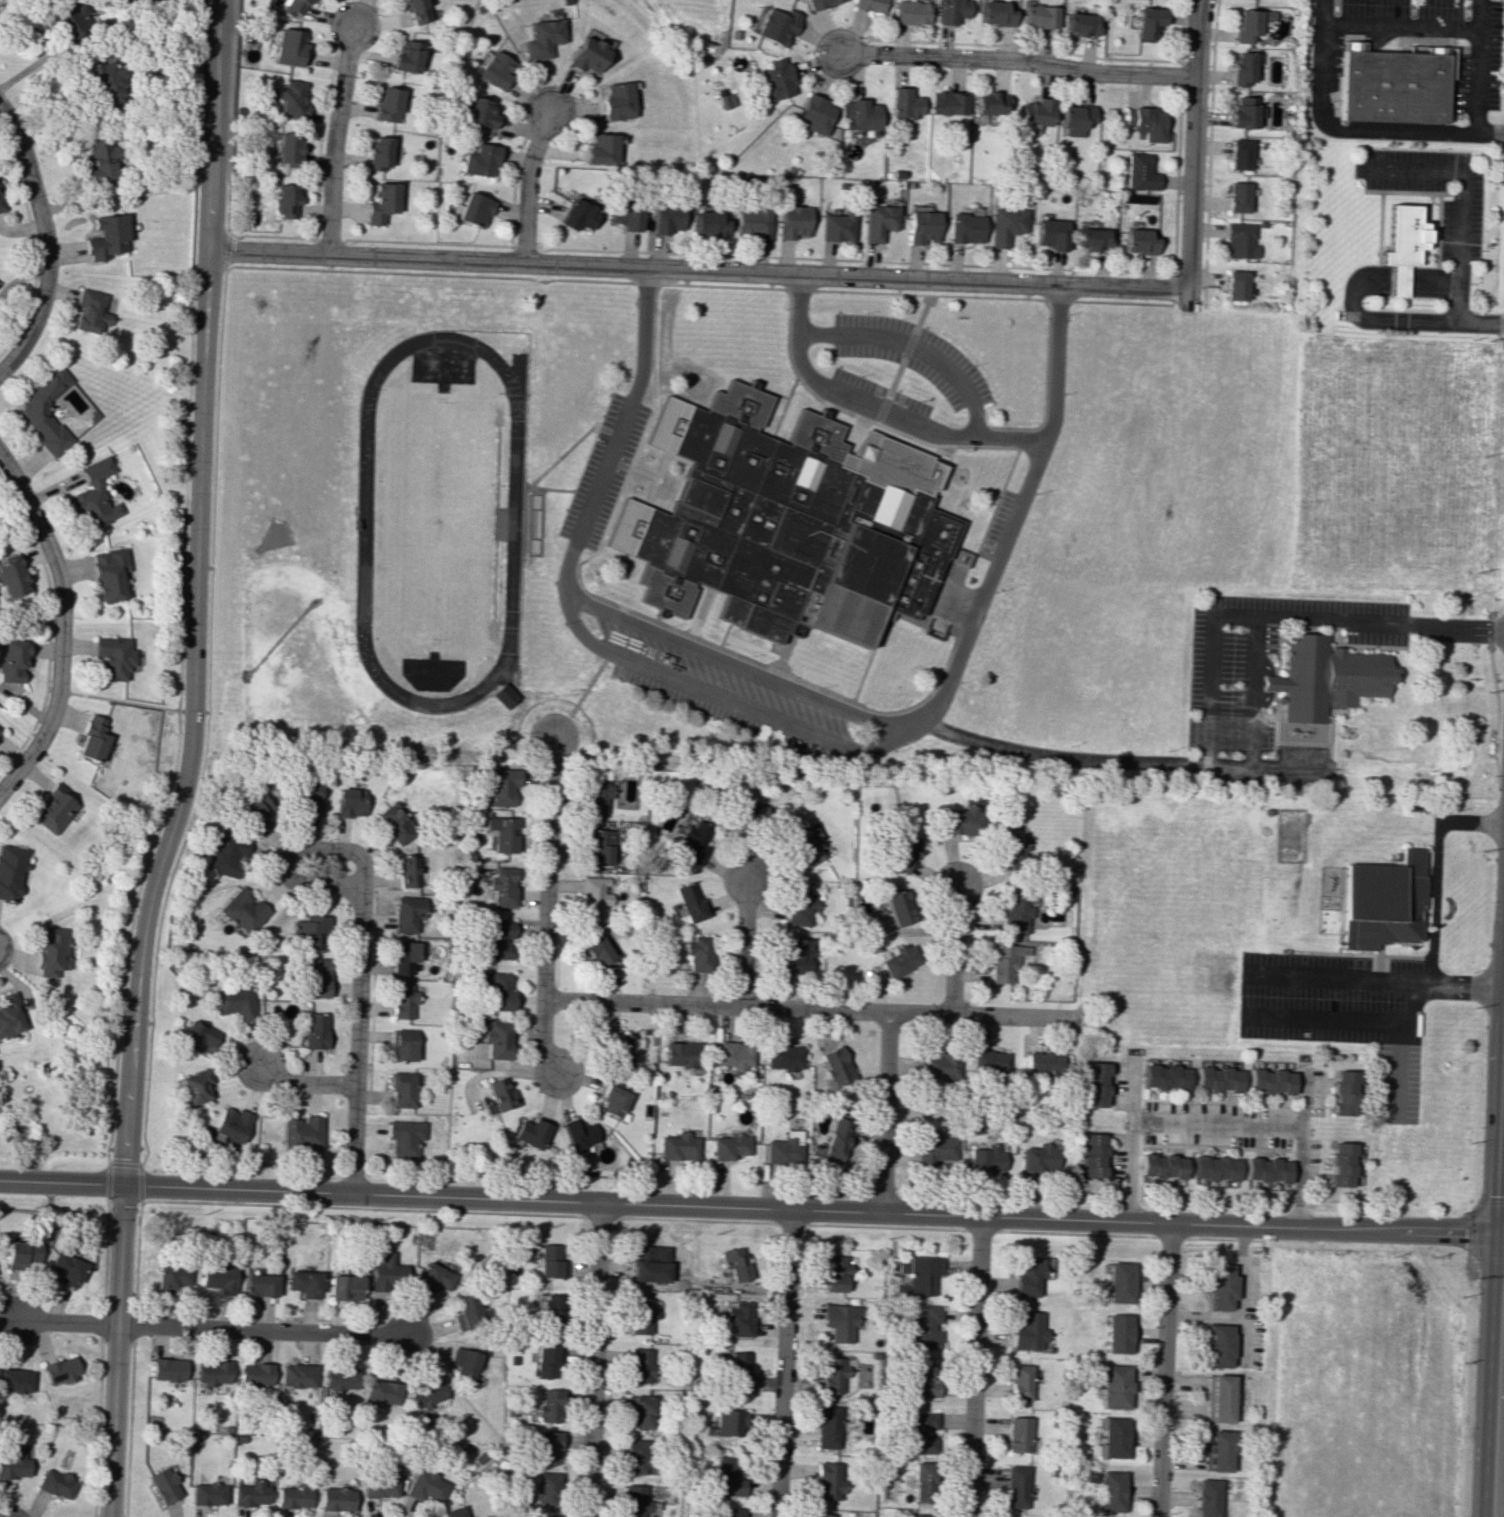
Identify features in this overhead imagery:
building: (819, 3)
building: (868, 5)
building: (287, 6)
building: (414, 11)
building: (951, 11)
building: (910, 12)
building: (996, 12)
building: (1039, 16)
building: (67, 19)
building: (1147, 22)
building: (1249, 23)
building: (1080, 24)
building: (776, 26)
road: (1399, 27)
building: (540, 38)
building: (287, 46)
building: (586, 54)
building: (405, 56)
road: (1015, 60)
road: (1476, 66)
building: (1242, 68)
building: (494, 69)
building: (774, 80)
parking lot: (1477, 80)
building: (105, 82)
building: (1390, 82)
building: (291, 98)
building: (616, 101)
building: (904, 103)
building: (948, 103)
building: (990, 103)
building: (387, 104)
building: (1034, 112)
building: (1244, 112)
building: (478, 113)
building: (814, 114)
building: (861, 114)
building: (1074, 118)
building: (1145, 123)
road: (1350, 127)
road: (331, 138)
road: (1191, 145)
building: (287, 147)
building: (601, 149)
building: (378, 152)
building: (1238, 154)
building: (98, 159)
building: (479, 160)
building: (1139, 172)
road: (525, 186)
building: (1236, 197)
building: (286, 200)
building: (381, 202)
building: (0, 207)
building: (472, 208)
building: (625, 214)
building: (577, 215)
building: (666, 218)
building: (793, 221)
building: (878, 221)
building: (752, 222)
road: (1458, 222)
building: (708, 224)
building: (1005, 225)
building: (837, 226)
building: (921, 226)
building: (964, 228)
parking lot: (1459, 231)
building: (1050, 234)
building: (106, 237)
building: (1091, 238)
building: (1239, 240)
building: (1137, 241)
road: (43, 242)
building: (1395, 247)
road: (695, 269)
building: (1234, 285)
road: (1351, 298)
building: (90, 311)
road: (915, 346)
parking lot: (914, 355)
road: (897, 375)
parking lot: (881, 391)
road: (874, 407)
building: (45, 412)
road: (578, 439)
parking lot: (603, 471)
road: (561, 490)
building: (94, 495)
track: (513, 516)
park: (435, 520)
building: (787, 521)
parking lot: (999, 523)
building: (109, 573)
building: (11, 578)
road: (1239, 617)
road: (59, 623)
road: (1459, 627)
building: (113, 657)
building: (12, 659)
road: (737, 667)
building: (1323, 677)
parking lot: (1226, 681)
parking lot: (727, 682)
road: (1252, 692)
road: (580, 694)
building: (503, 695)
parking lot: (713, 711)
road: (786, 726)
building: (0, 732)
building: (91, 739)
road: (1060, 756)
road: (186, 761)
road: (1264, 767)
building: (500, 787)
building: (594, 792)
building: (307, 798)
building: (349, 802)
building: (54, 808)
building: (254, 812)
building: (958, 821)
building: (395, 823)
building: (501, 833)
building: (693, 841)
building: (805, 844)
building: (596, 846)
building: (1013, 850)
road: (290, 851)
building: (904, 852)
building: (224, 854)
building: (11, 870)
building: (407, 870)
building: (501, 887)
building: (594, 897)
building: (1380, 901)
building: (688, 902)
building: (799, 906)
road: (547, 907)
building: (898, 908)
road: (1432, 908)
building: (242, 910)
building: (406, 913)
building: (1016, 914)
building: (310, 929)
building: (497, 938)
road: (745, 941)
building: (595, 949)
building: (51, 950)
road: (955, 951)
building: (698, 953)
building: (797, 955)
building: (404, 956)
building: (900, 960)
building: (1003, 963)
building: (317, 977)
road: (1335, 978)
building: (497, 989)
building: (402, 1001)
building: (233, 1002)
road: (1410, 1003)
road: (809, 1009)
parking lot: (1341, 1014)
building: (9, 1015)
road: (1325, 1019)
building: (314, 1030)
building: (197, 1037)
building: (495, 1039)
road: (355, 1044)
building: (401, 1045)
building: (616, 1051)
building: (680, 1053)
building: (733, 1054)
building: (783, 1057)
building: (988, 1063)
building: (1043, 1063)
building: (835, 1067)
building: (938, 1067)
road: (1398, 1071)
building: (1164, 1077)
building: (1217, 1079)
building: (1270, 1081)
road: (303, 1084)
building: (1095, 1084)
building: (194, 1086)
building: (401, 1089)
building: (1343, 1092)
building: (497, 1094)
building: (612, 1101)
road: (884, 1114)
road: (1217, 1124)
building: (230, 1125)
building: (300, 1131)
building: (530, 1133)
building: (578, 1134)
building: (404, 1137)
building: (836, 1140)
road: (1130, 1142)
building: (677, 1146)
building: (728, 1146)
road: (1301, 1146)
building: (783, 1148)
building: (935, 1149)
building: (1092, 1155)
building: (1038, 1157)
building: (985, 1159)
building: (1341, 1164)
building: (1161, 1166)
building: (1214, 1168)
building: (1266, 1169)
road: (751, 1209)
road: (1470, 1230)
building: (20, 1253)
building: (550, 1261)
building: (649, 1263)
building: (734, 1263)
building: (66, 1268)
building: (385, 1272)
building: (835, 1272)
building: (922, 1274)
building: (1026, 1275)
building: (171, 1276)
building: (432, 1277)
building: (218, 1278)
building: (1119, 1282)
building: (303, 1283)
building: (259, 1285)
building: (344, 1287)
building: (1220, 1287)
building: (551, 1309)
building: (465, 1311)
building: (641, 1315)
building: (738, 1318)
building: (840, 1322)
building: (923, 1328)
road: (212, 1329)
building: (1028, 1331)
building: (1117, 1333)
building: (1218, 1345)
road: (593, 1360)
building: (544, 1361)
building: (464, 1363)
road: (781, 1364)
building: (639, 1365)
road: (973, 1367)
building: (167, 1369)
building: (60, 1370)
road: (1162, 1370)
building: (212, 1372)
building: (737, 1372)
building: (255, 1373)
building: (830, 1374)
building: (297, 1375)
building: (340, 1378)
building: (921, 1378)
building: (15, 1380)
building: (1019, 1382)
building: (1114, 1386)
building: (382, 1391)
building: (427, 1394)
building: (1218, 1398)
building: (547, 1406)
building: (639, 1410)
building: (728, 1422)
building: (826, 1427)
building: (922, 1433)
building: (1016, 1434)
building: (1111, 1437)
building: (546, 1447)
building: (1217, 1450)
building: (633, 1456)
building: (13, 1464)
building: (1088, 1476)
building: (726, 1477)
building: (827, 1481)
building: (921, 1482)
building: (55, 1483)
building: (163, 1484)
building: (378, 1486)
building: (425, 1486)
building: (1015, 1486)
road: (1502, 1488)
building: (545, 1489)
building: (1110, 1491)
building: (207, 1493)
building: (250, 1493)
building: (293, 1496)
building: (1207, 1497)
building: (335, 1499)
building: (633, 1500)
building: (453, 1512)
building: (729, 1512)
building: (821, 1515)
building: (920, 1515)
building: (542, 1516)

